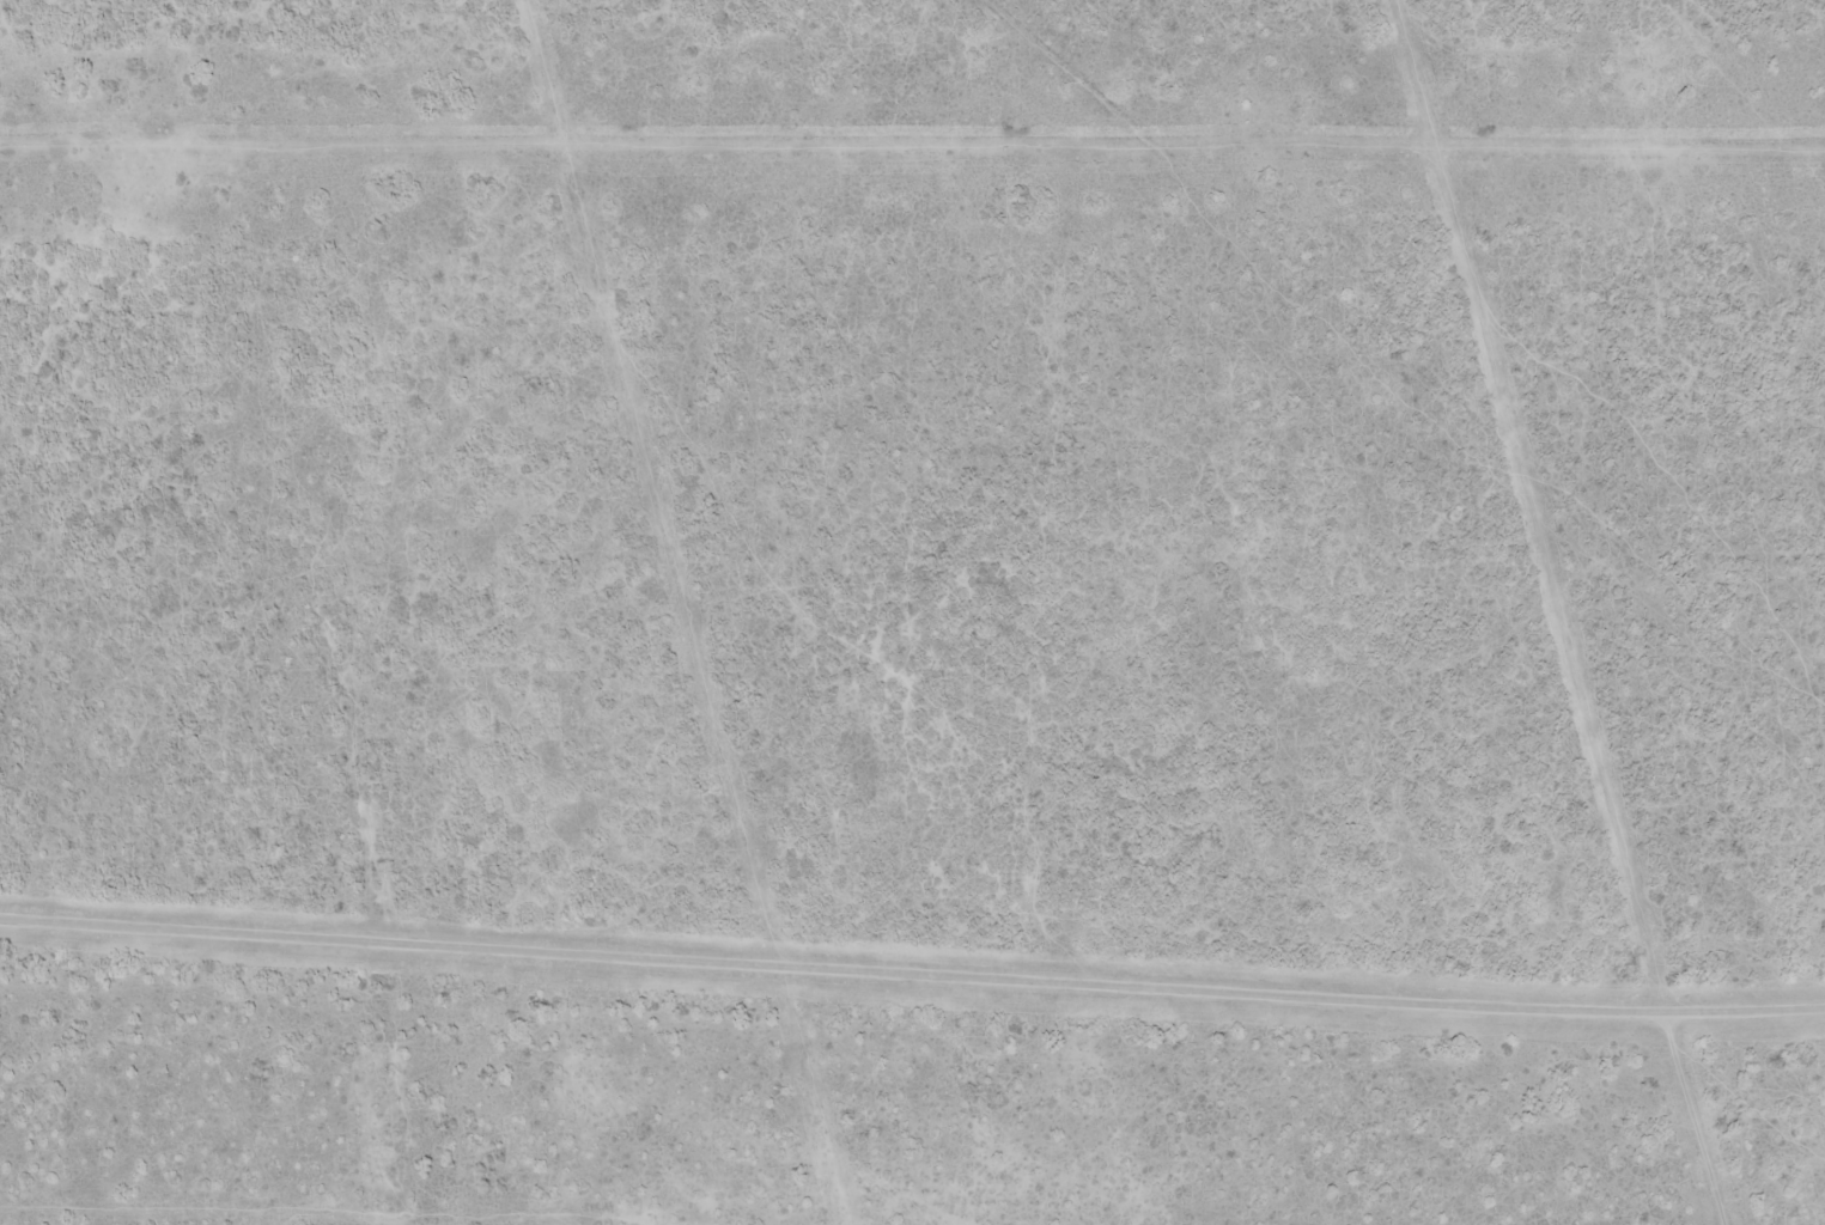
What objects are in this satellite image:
road: (912, 955)

